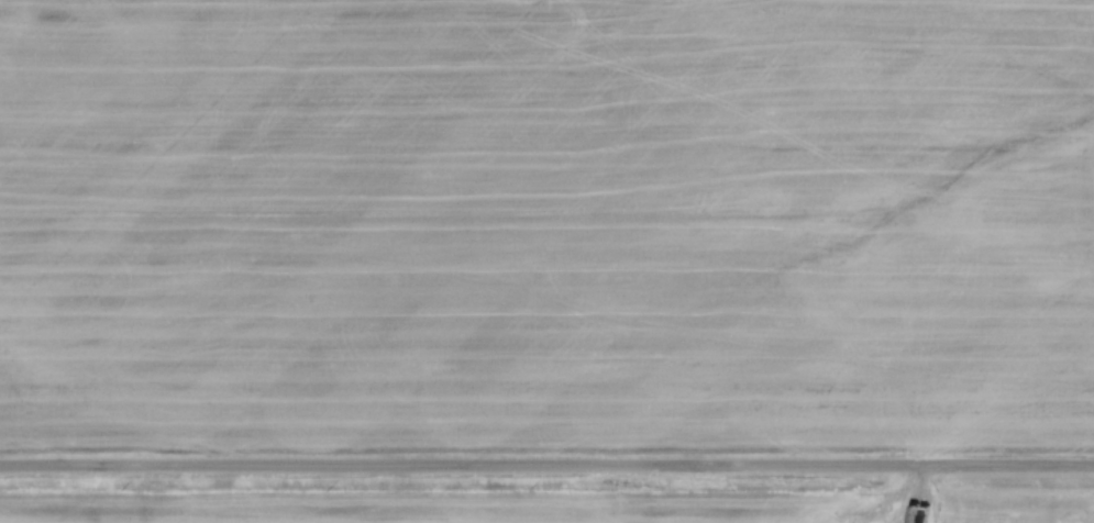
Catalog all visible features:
road: (546, 467)

